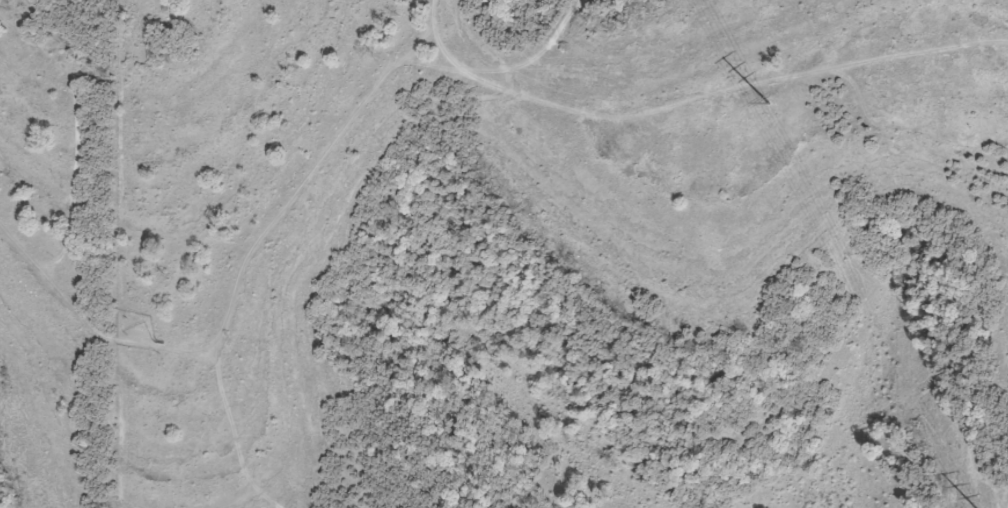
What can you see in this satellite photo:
power tower: (770, 104)

